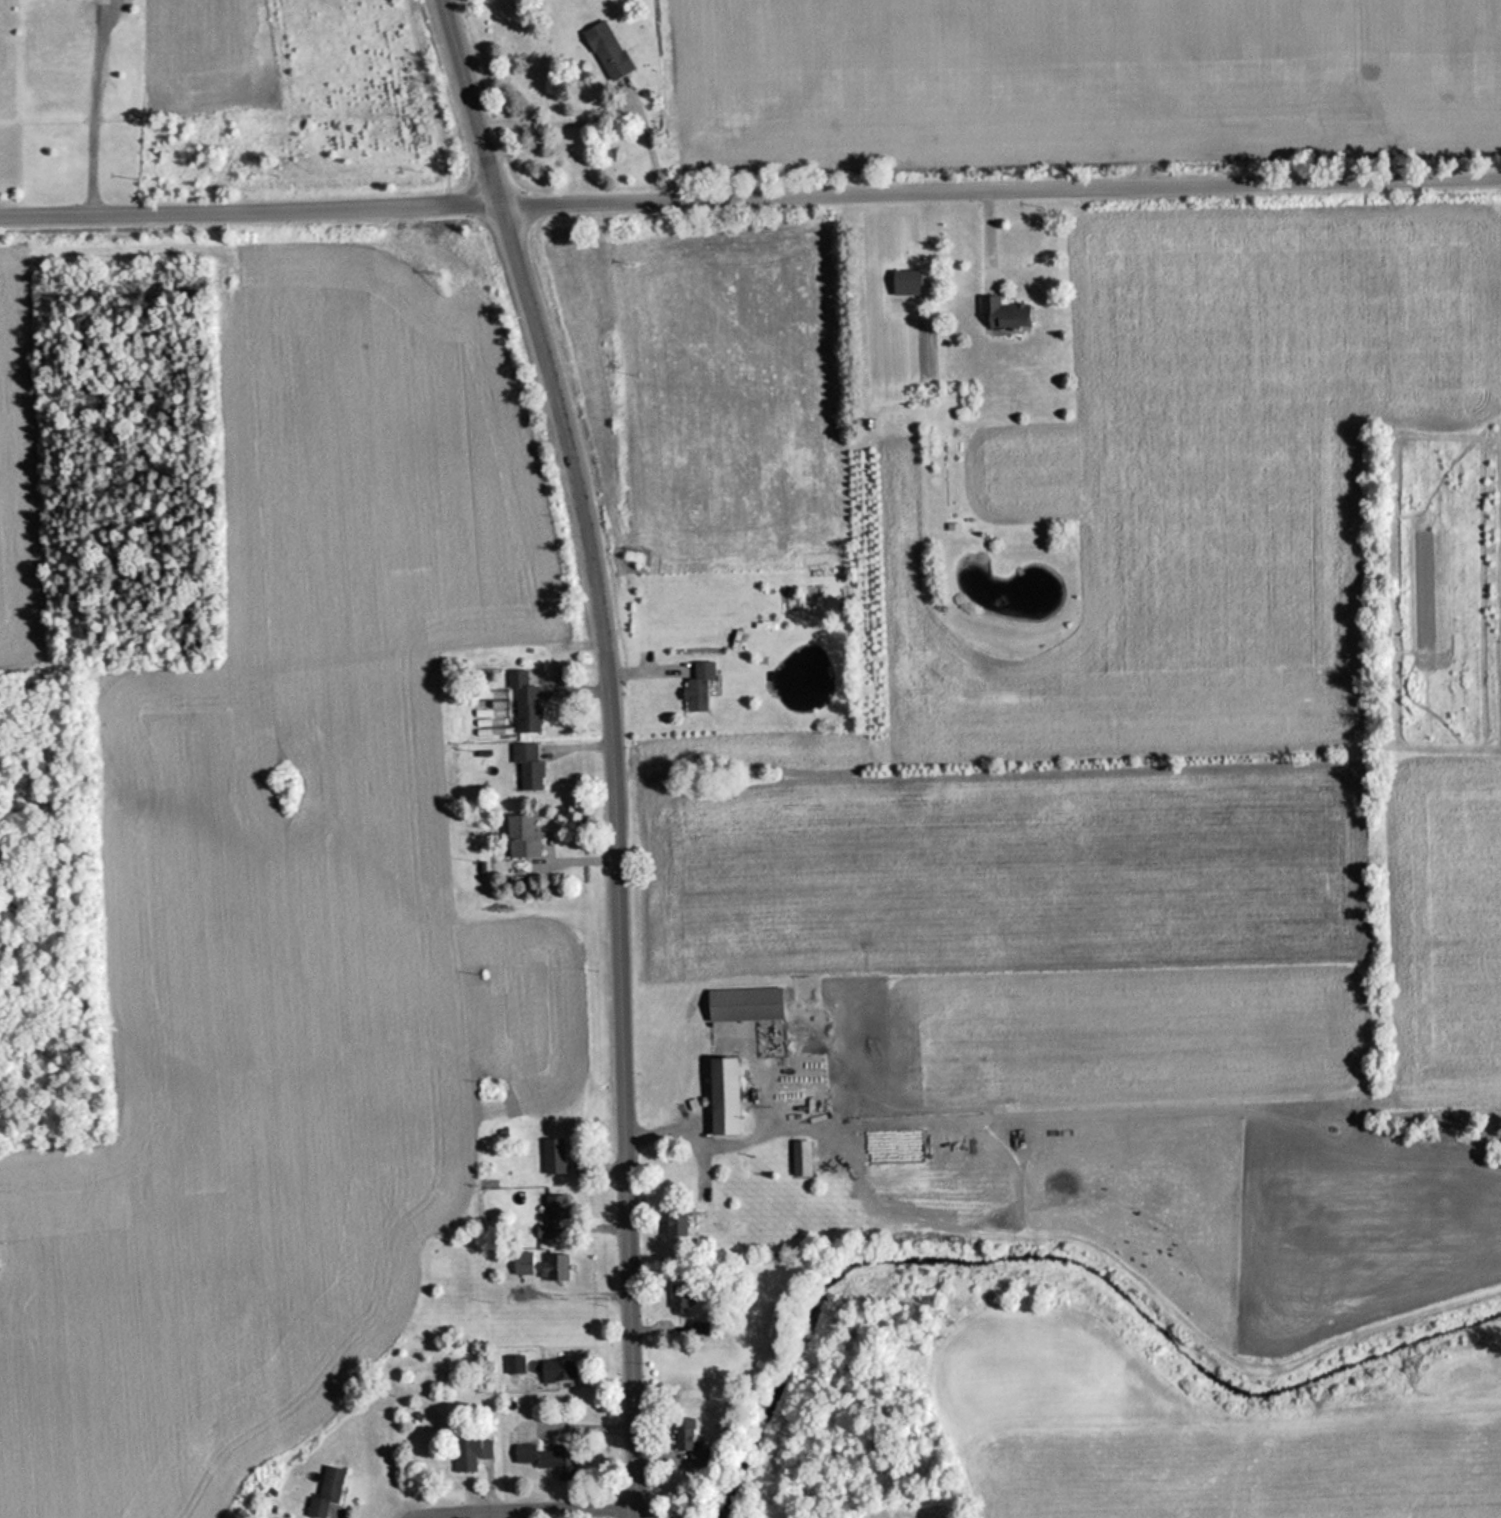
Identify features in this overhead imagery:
building: (604, 49)
road: (750, 195)
building: (904, 282)
building: (1001, 312)
road: (535, 321)
building: (869, 424)
building: (696, 685)
building: (524, 703)
building: (527, 763)
building: (519, 835)
building: (741, 1003)
road: (623, 1083)
building: (720, 1095)
building: (552, 1155)
building: (798, 1157)
building: (551, 1215)
building: (670, 1221)
building: (520, 1262)
building: (551, 1266)
building: (680, 1299)
building: (513, 1363)
building: (555, 1368)
building: (682, 1433)
building: (468, 1449)
building: (546, 1458)
building: (324, 1491)
road: (517, 1500)

